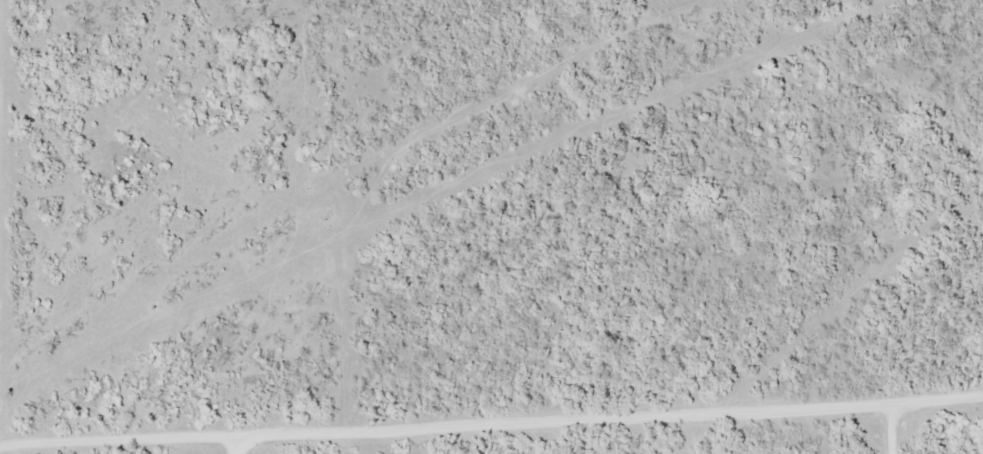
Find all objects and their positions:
road: (491, 402)
road: (240, 435)

